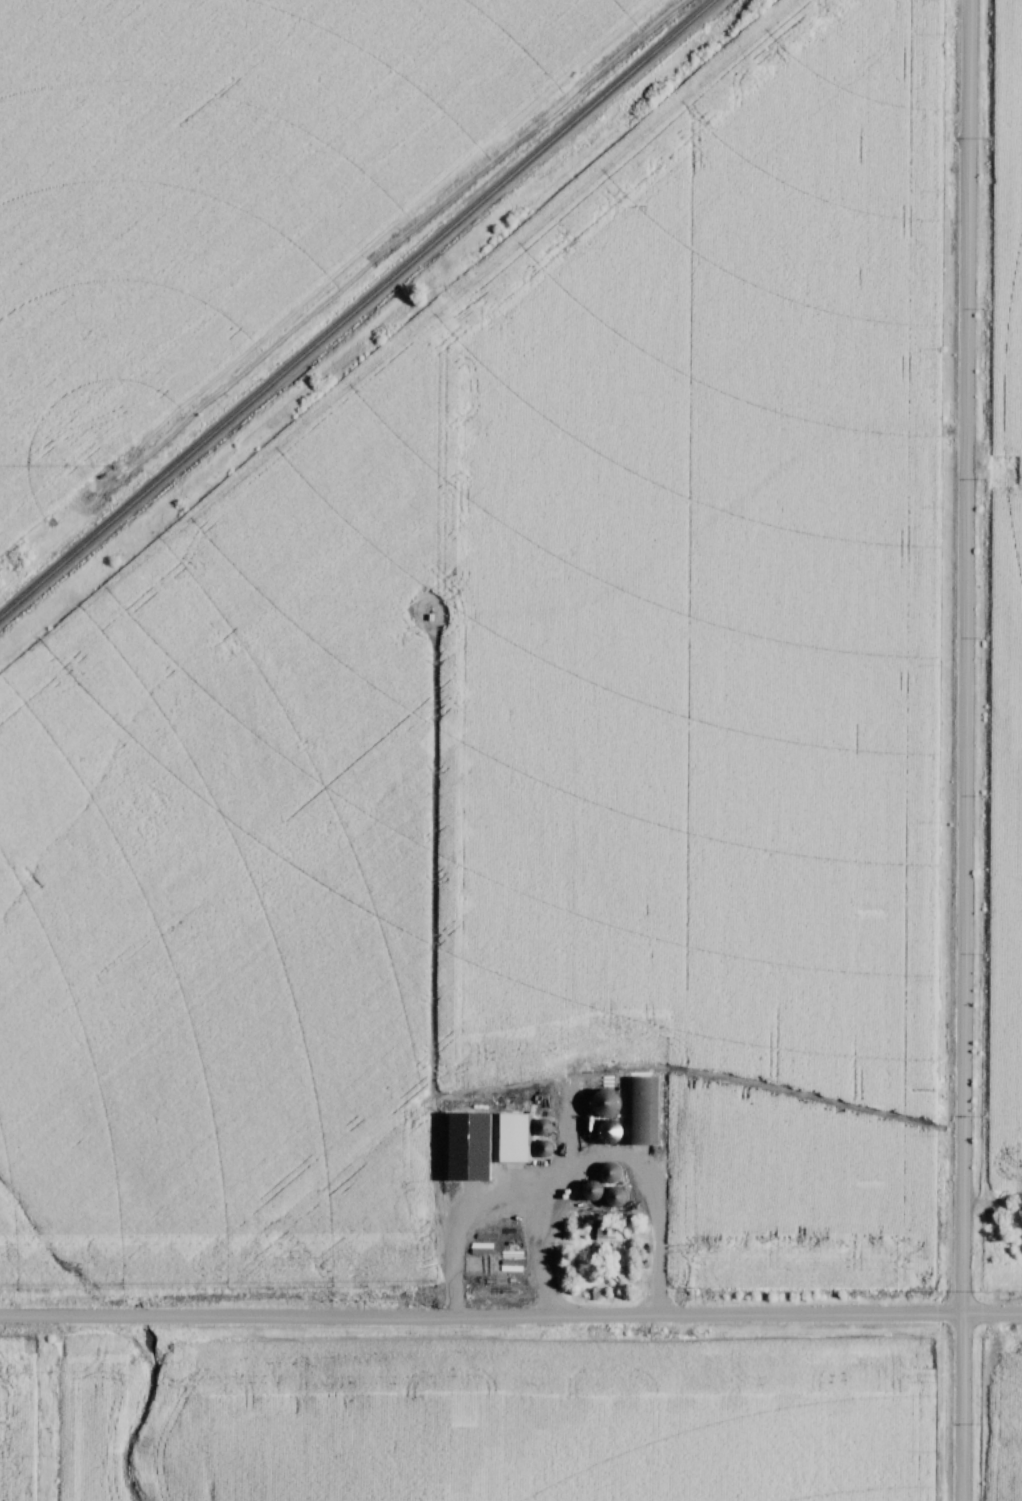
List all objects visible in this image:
crop: (704, 300)
railway: (356, 307)
crop: (1009, 580)
road: (965, 750)
crop: (729, 862)
crop: (231, 870)
building: (604, 1102)
building: (639, 1111)
building: (541, 1127)
building: (513, 1135)
building: (466, 1143)
road: (604, 1153)
building: (609, 1172)
building: (594, 1191)
building: (614, 1197)
building: (607, 1234)
road: (511, 1317)

